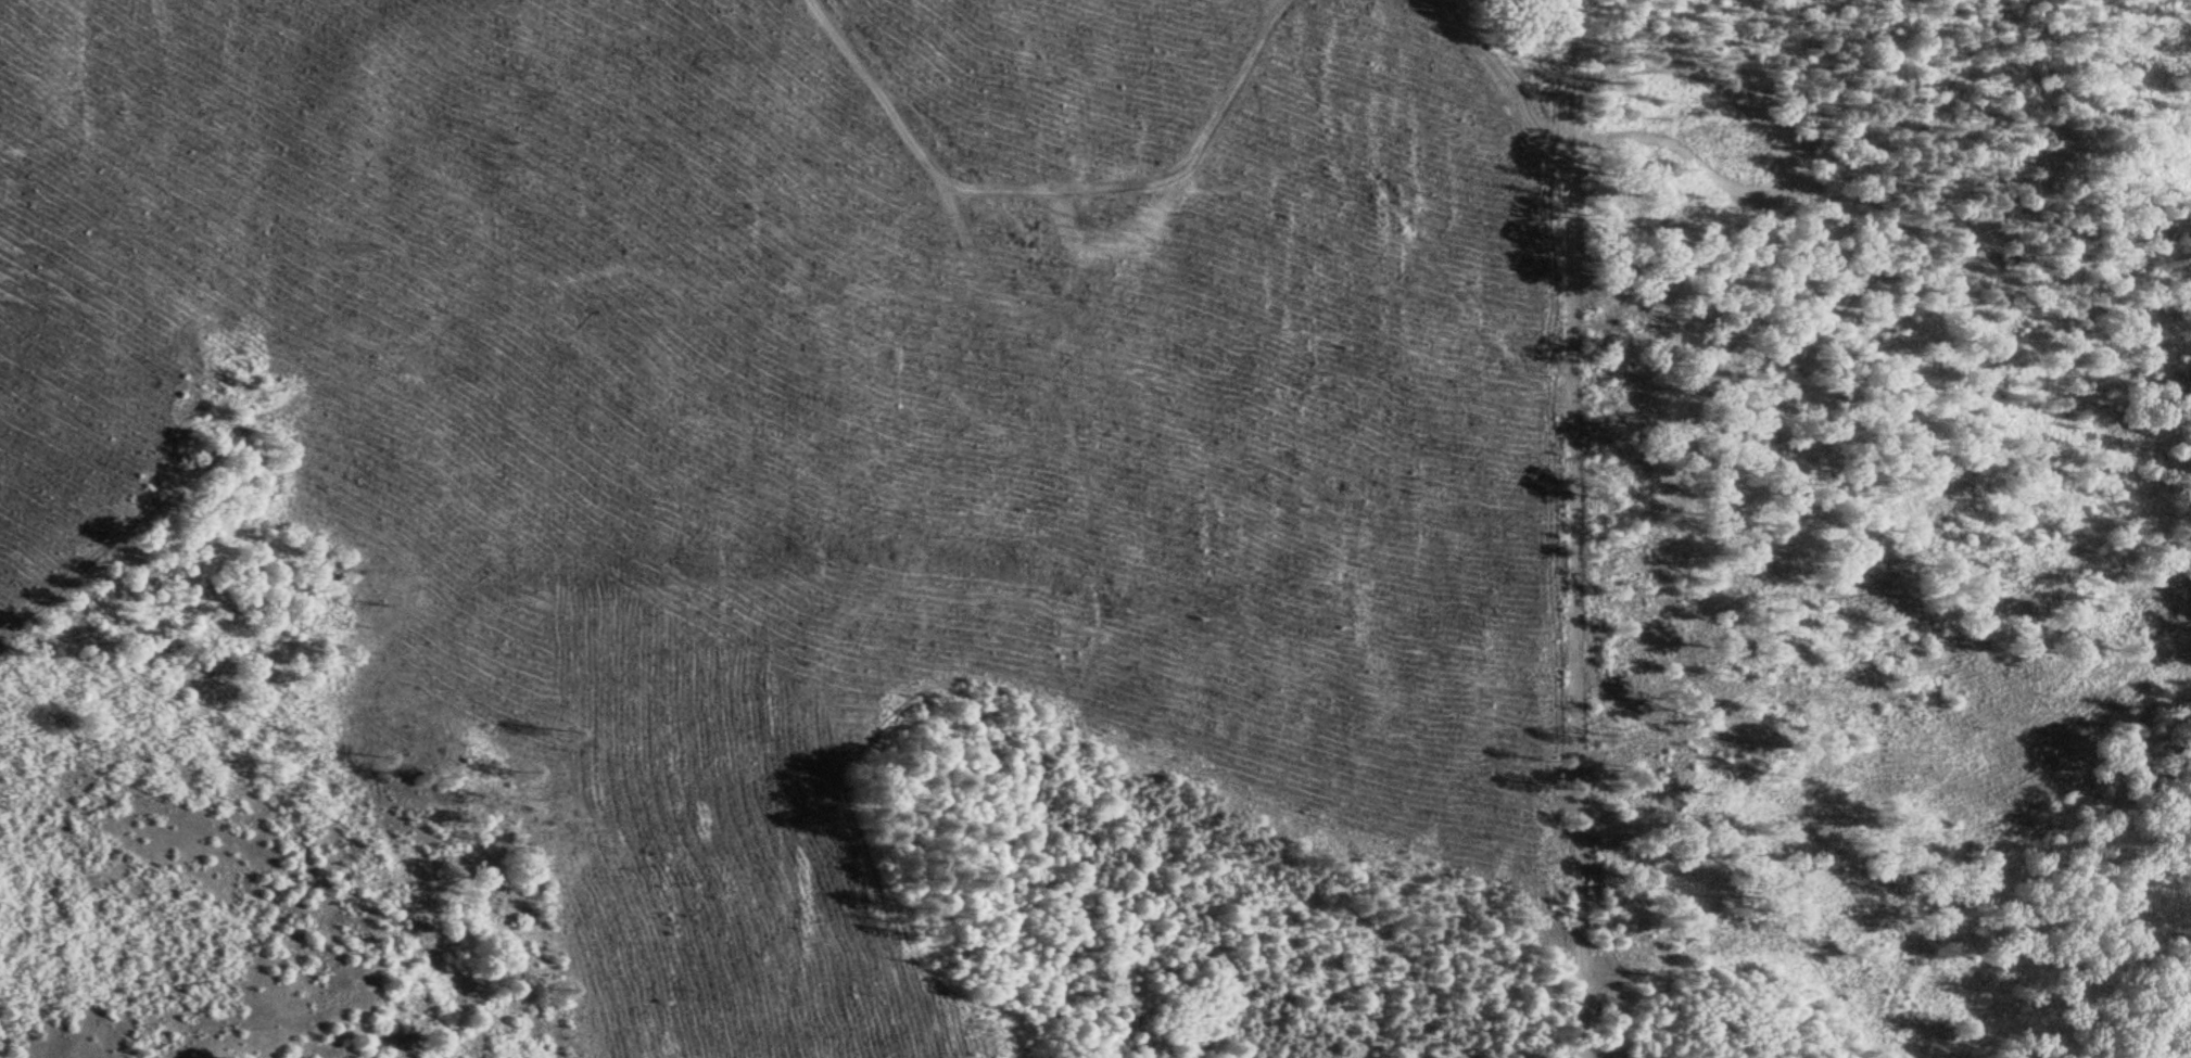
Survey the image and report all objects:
road: (1578, 528)

